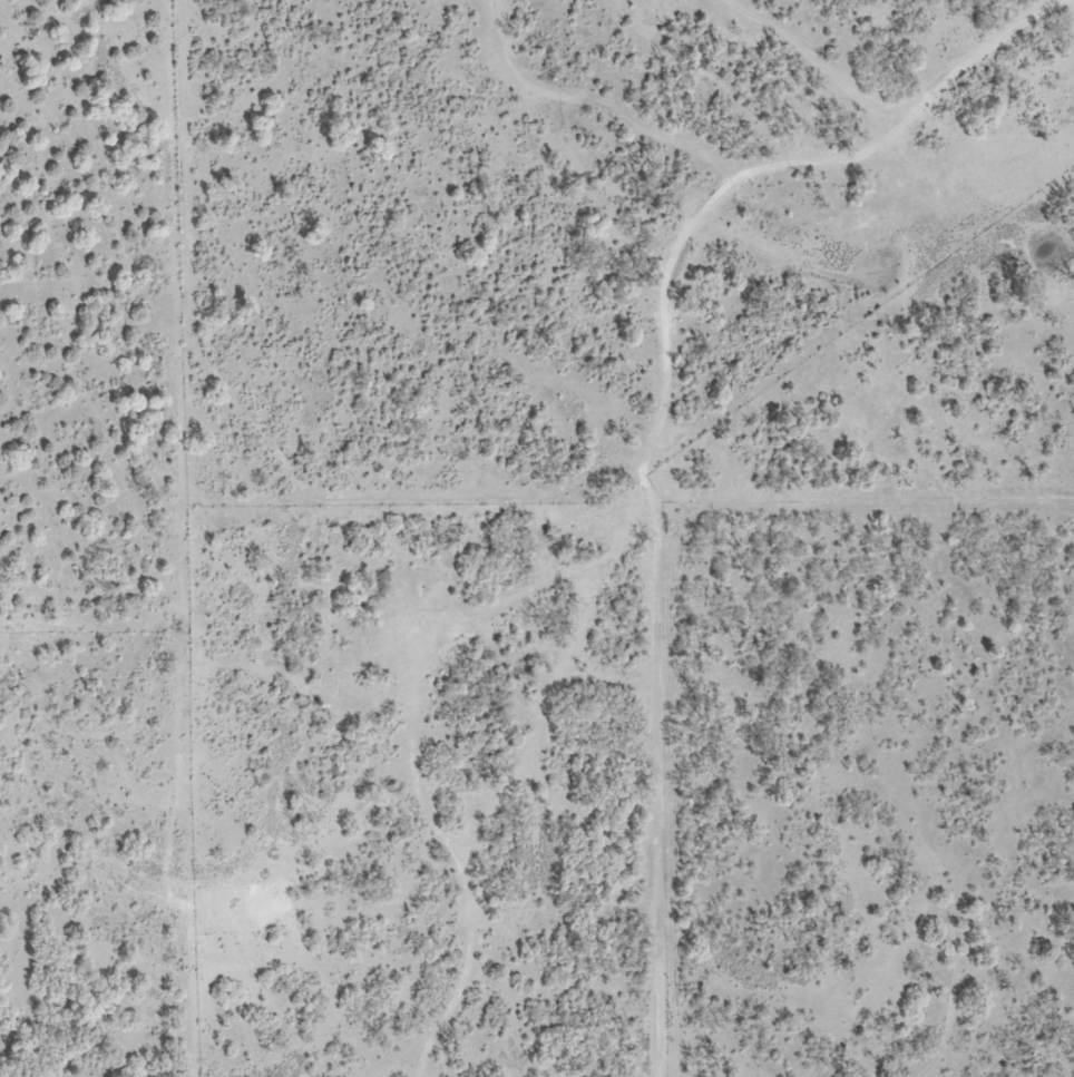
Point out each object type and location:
road: (807, 190)

